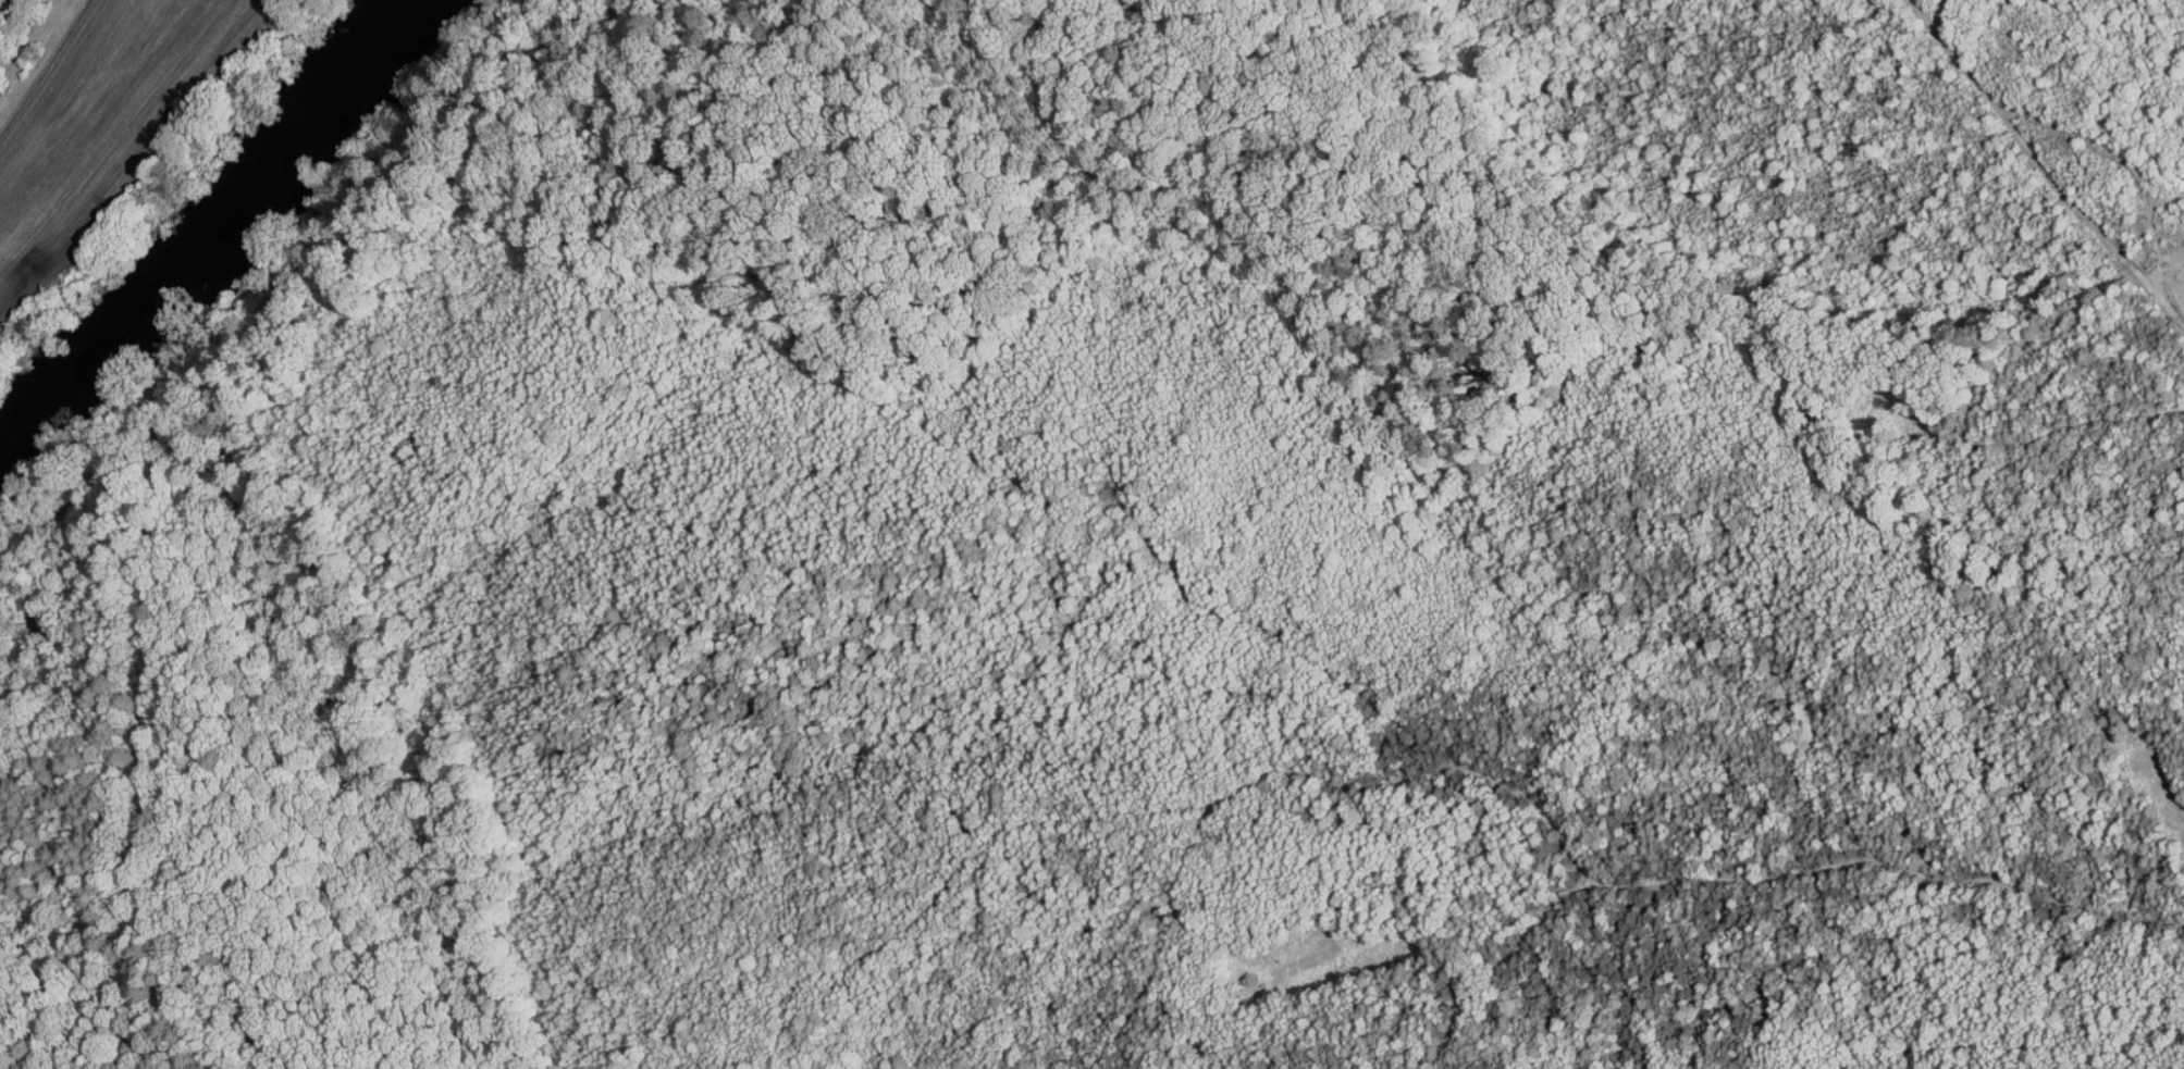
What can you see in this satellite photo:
river: (211, 233)

